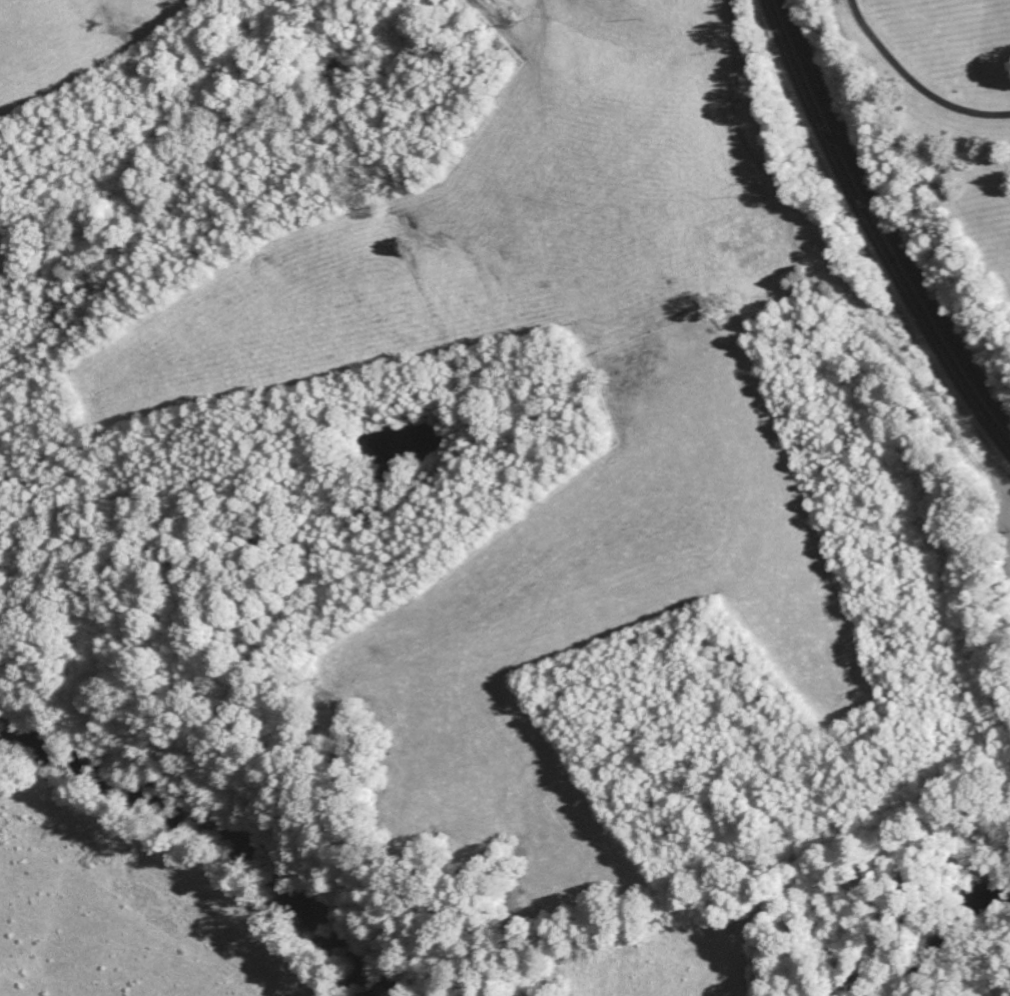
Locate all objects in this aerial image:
road: (880, 227)

